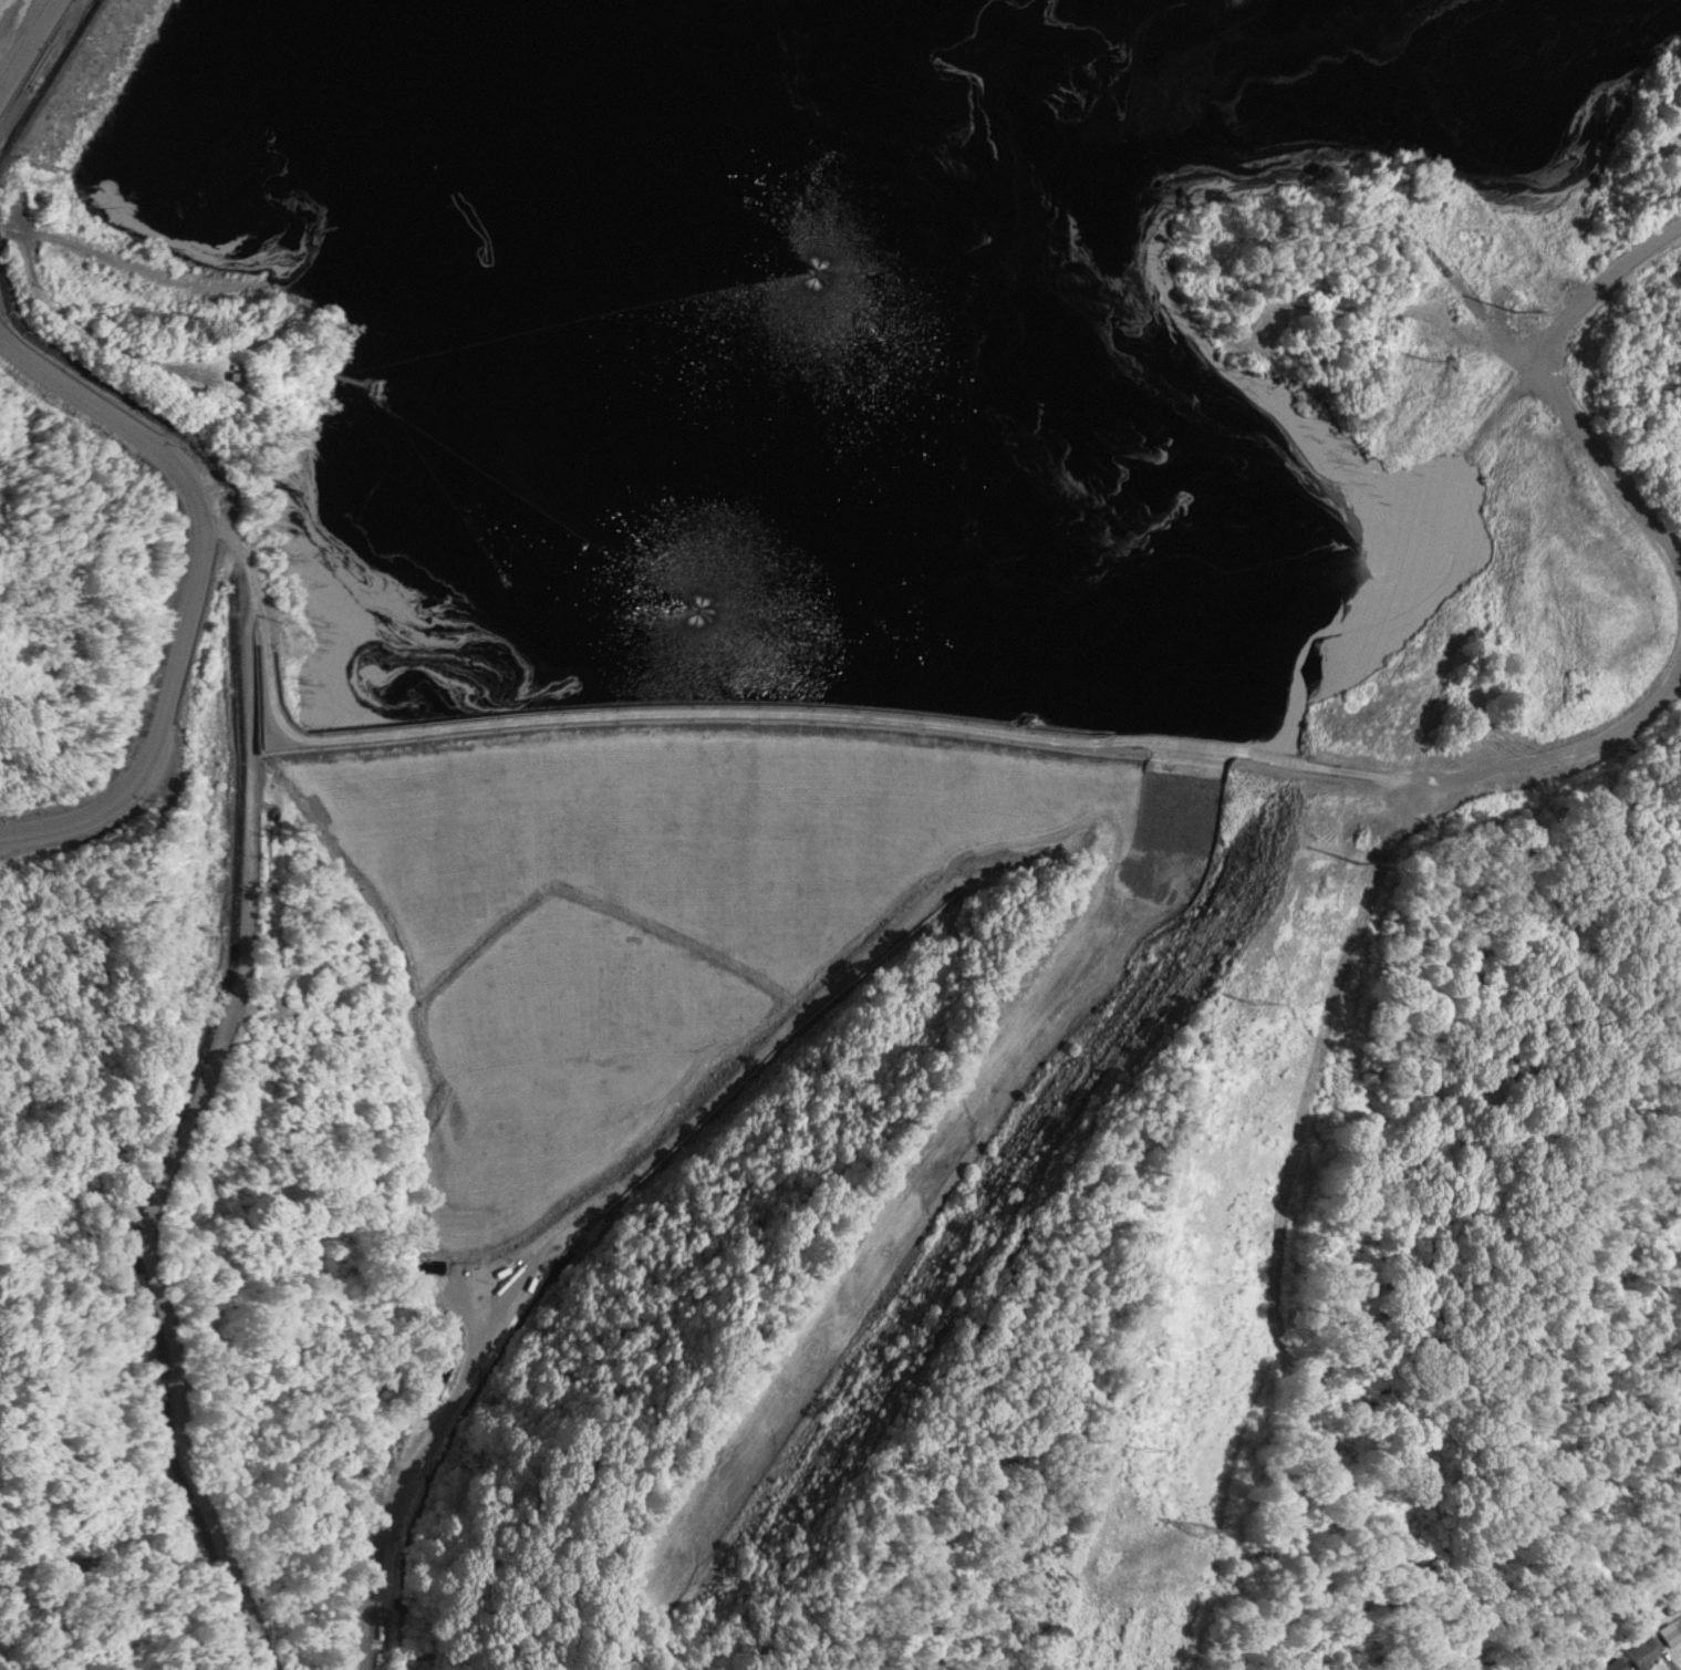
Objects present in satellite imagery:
power tower: (1502, 292)
power tower: (1355, 870)
power tower: (1197, 1528)
building: (1672, 1636)
building: (1643, 1651)
building: (1615, 1664)

